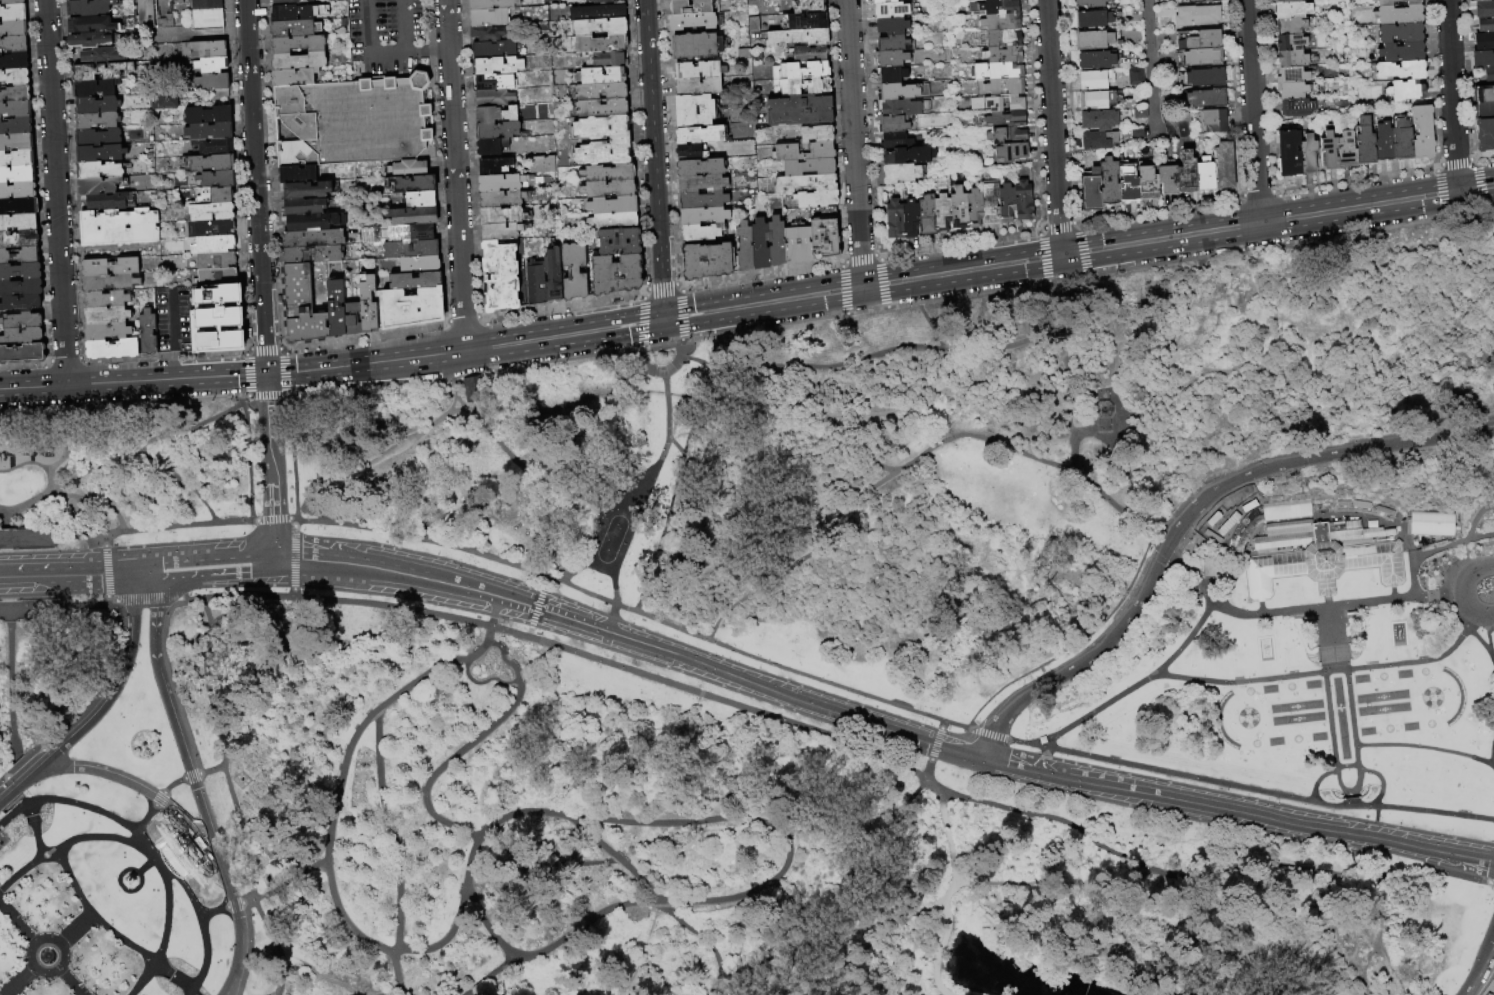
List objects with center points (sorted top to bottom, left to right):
building: (1478, 0)
building: (180, 1)
building: (602, 1)
building: (885, 1)
building: (1202, 1)
building: (1288, 1)
building: (13, 2)
building: (291, 2)
building: (1397, 2)
building: (1092, 3)
building: (207, 4)
building: (492, 5)
building: (809, 6)
building: (90, 7)
building: (691, 7)
building: (1000, 7)
building: (1485, 9)
building: (1293, 10)
building: (892, 11)
building: (14, 13)
building: (284, 14)
building: (598, 14)
building: (1400, 15)
building: (152, 16)
building: (1200, 16)
building: (490, 18)
building: (208, 19)
building: (1095, 20)
building: (693, 21)
building: (808, 21)
building: (1002, 23)
building: (751, 24)
building: (92, 25)
road: (402, 26)
building: (893, 26)
building: (1292, 26)
building: (1486, 26)
building: (14, 29)
building: (296, 29)
building: (601, 30)
building: (1401, 33)
building: (488, 34)
parking lot: (386, 37)
building: (798, 38)
building: (1001, 39)
building: (90, 40)
building: (1098, 40)
building: (1206, 40)
building: (1484, 41)
building: (1292, 42)
building: (298, 44)
road: (366, 44)
building: (893, 44)
building: (15, 45)
building: (602, 45)
building: (697, 46)
building: (205, 50)
building: (494, 50)
road: (425, 51)
building: (1402, 52)
building: (811, 54)
building: (1004, 55)
building: (101, 56)
building: (1205, 57)
building: (892, 59)
building: (1293, 59)
building: (299, 60)
building: (606, 60)
building: (1097, 60)
building: (1483, 60)
building: (15, 62)
road: (1149, 64)
building: (212, 65)
building: (498, 66)
building: (802, 71)
building: (1401, 71)
building: (99, 72)
building: (999, 72)
building: (892, 75)
building: (1490, 75)
building: (603, 76)
building: (1133, 76)
building: (1295, 76)
building: (16, 77)
building: (294, 77)
building: (699, 78)
building: (1206, 78)
building: (1096, 80)
building: (488, 83)
building: (216, 84)
building: (803, 86)
building: (1001, 88)
building: (94, 89)
building: (1294, 91)
building: (1407, 91)
building: (898, 92)
building: (16, 94)
road: (1452, 95)
building: (1483, 95)
building: (495, 98)
building: (1208, 99)
building: (162, 100)
building: (603, 100)
building: (1094, 100)
building: (988, 104)
building: (1017, 104)
building: (95, 105)
building: (905, 108)
building: (1297, 108)
building: (17, 109)
building: (695, 111)
building: (801, 111)
road: (1253, 111)
building: (1484, 111)
building: (209, 115)
building: (496, 115)
building: (1004, 119)
building: (1101, 120)
building: (97, 121)
building: (1215, 121)
building: (352, 123)
building: (894, 125)
building: (17, 127)
road: (1053, 127)
building: (210, 131)
building: (498, 131)
building: (1423, 132)
building: (818, 134)
building: (701, 135)
building: (1018, 135)
building: (1485, 135)
building: (998, 136)
building: (98, 138)
building: (1100, 140)
building: (1403, 141)
building: (17, 142)
building: (620, 142)
building: (896, 142)
road: (853, 143)
building: (1366, 143)
building: (1385, 143)
building: (215, 147)
building: (492, 147)
building: (1348, 150)
building: (1331, 151)
building: (690, 152)
building: (823, 152)
building: (1013, 152)
building: (1291, 153)
building: (100, 154)
building: (1309, 155)
building: (909, 156)
building: (18, 159)
road: (654, 159)
building: (212, 163)
building: (540, 164)
building: (1225, 166)
building: (496, 167)
building: (700, 168)
building: (810, 168)
building: (409, 169)
building: (99, 170)
building: (608, 173)
building: (1188, 173)
building: (902, 174)
building: (18, 175)
building: (298, 175)
road: (455, 175)
building: (1206, 176)
building: (218, 180)
building: (1169, 180)
building: (1110, 182)
building: (502, 183)
building: (806, 183)
building: (415, 184)
building: (703, 184)
building: (1149, 184)
building: (1129, 185)
building: (99, 186)
road: (255, 187)
building: (609, 189)
building: (308, 190)
building: (18, 191)
building: (1092, 191)
road: (56, 193)
building: (216, 196)
building: (817, 199)
building: (421, 200)
building: (502, 200)
building: (704, 200)
building: (107, 202)
building: (1024, 202)
building: (1007, 204)
building: (991, 205)
building: (614, 206)
building: (19, 207)
building: (305, 207)
building: (959, 209)
building: (975, 209)
building: (212, 212)
building: (943, 214)
building: (412, 216)
building: (503, 216)
building: (705, 216)
building: (928, 216)
building: (911, 219)
building: (895, 221)
building: (315, 222)
building: (613, 222)
building: (18, 223)
building: (120, 228)
building: (211, 228)
road: (1474, 231)
building: (502, 232)
building: (825, 232)
building: (409, 233)
building: (702, 233)
building: (314, 239)
building: (20, 240)
building: (777, 242)
building: (620, 243)
building: (214, 245)
building: (761, 245)
building: (799, 246)
building: (745, 248)
building: (412, 250)
road: (1078, 252)
building: (313, 255)
building: (20, 256)
building: (217, 261)
building: (708, 262)
building: (420, 265)
building: (112, 267)
road: (1463, 268)
building: (21, 272)
building: (575, 272)
building: (617, 275)
building: (501, 277)
building: (553, 277)
building: (218, 278)
building: (415, 281)
building: (107, 284)
building: (536, 286)
building: (21, 288)
building: (107, 300)
building: (21, 304)
building: (368, 304)
building: (302, 308)
building: (413, 309)
building: (337, 310)
road: (922, 315)
building: (107, 316)
road: (174, 318)
building: (217, 319)
building: (353, 319)
traffic signals: (664, 319)
building: (22, 322)
building: (108, 332)
building: (149, 334)
building: (22, 337)
road: (536, 339)
road: (958, 348)
building: (112, 349)
building: (23, 354)
road: (176, 363)
road: (645, 365)
road: (337, 367)
traffic signals: (266, 374)
road: (133, 382)
road: (450, 384)
building: (467, 387)
road: (1161, 391)
road: (267, 401)
road: (788, 408)
building: (1101, 409)
road: (884, 412)
road: (88, 426)
road: (290, 446)
road: (249, 447)
road: (1333, 453)
road: (271, 455)
road: (124, 458)
road: (911, 461)
road: (35, 464)
road: (526, 464)
road: (685, 467)
road: (181, 484)
road: (458, 486)
road: (82, 499)
road: (638, 501)
building: (1285, 509)
road: (599, 516)
road: (271, 519)
road: (291, 519)
road: (1475, 519)
road: (252, 521)
road: (274, 521)
road: (294, 523)
building: (1430, 523)
track: (614, 525)
road: (124, 530)
road: (1174, 532)
road: (1479, 538)
road: (105, 539)
road: (1161, 546)
road: (396, 553)
road: (1418, 555)
building: (1322, 557)
road: (293, 558)
road: (304, 561)
road: (218, 565)
building: (1210, 565)
road: (1485, 566)
road: (367, 567)
road: (154, 570)
road: (104, 571)
road: (74, 572)
road: (425, 579)
road: (292, 592)
road: (1448, 593)
road: (1463, 594)
road: (180, 598)
road: (146, 599)
road: (108, 600)
road: (1326, 602)
road: (112, 603)
road: (55, 606)
road: (634, 610)
road: (1282, 613)
building: (1348, 614)
road: (1488, 615)
building: (1306, 618)
road: (154, 620)
road: (1340, 625)
road: (1321, 628)
road: (605, 631)
road: (1488, 636)
road: (1484, 645)
road: (1073, 646)
road: (563, 648)
park: (786, 656)
road: (1079, 660)
road: (1328, 671)
road: (1152, 677)
road: (119, 678)
road: (483, 680)
road: (172, 684)
road: (11, 696)
road: (87, 705)
road: (871, 723)
road: (174, 724)
road: (940, 724)
road: (987, 733)
road: (933, 743)
road: (1425, 747)
road: (218, 749)
road: (43, 753)
road: (1493, 759)
road: (928, 769)
road: (211, 770)
road: (1367, 775)
road: (192, 776)
road: (342, 777)
road: (125, 780)
road: (11, 782)
road: (22, 783)
road: (933, 783)
road: (173, 784)
road: (1249, 789)
road: (1351, 797)
road: (160, 800)
road: (901, 807)
road: (1238, 810)
road: (548, 815)
road: (1055, 818)
road: (145, 819)
road: (206, 822)
road: (827, 837)
road: (40, 841)
road: (207, 847)
road: (149, 848)
road: (143, 851)
road: (617, 857)
road: (580, 861)
building: (287, 863)
road: (146, 866)
road: (472, 868)
road: (1292, 874)
road: (1454, 877)
road: (289, 879)
road: (1490, 883)
road: (72, 884)
road: (118, 884)
road: (228, 887)
road: (1041, 896)
park: (105, 897)
road: (235, 905)
road: (1182, 910)
road: (214, 912)
road: (399, 919)
road: (585, 922)
road: (17, 924)
road: (1378, 929)
road: (75, 931)
road: (889, 931)
road: (699, 938)
road: (274, 941)
road: (131, 945)
road: (1187, 945)
road: (643, 947)
road: (1222, 947)
road: (248, 949)
road: (240, 951)
road: (936, 954)
fountain: (45, 956)
road: (59, 963)
road: (1203, 968)
road: (1482, 970)
road: (398, 972)
road: (1392, 974)
road: (490, 975)
road: (17, 981)
road: (68, 982)
road: (714, 991)
road: (393, 992)
road: (402, 992)

